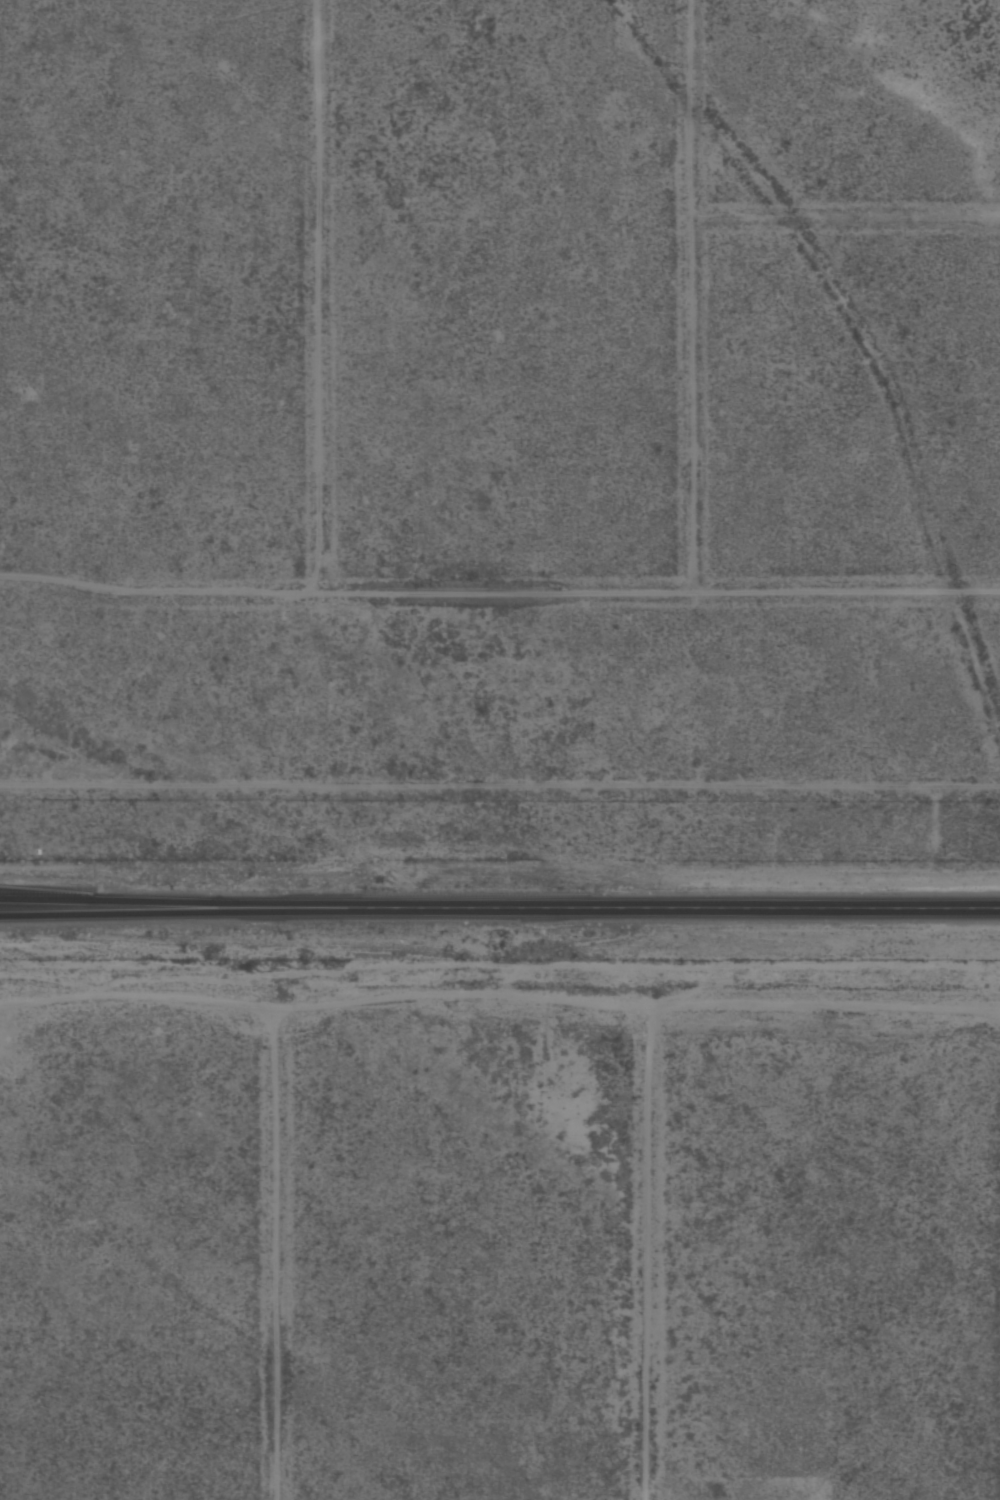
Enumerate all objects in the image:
road: (843, 224)
road: (685, 297)
road: (352, 598)
road: (45, 894)
road: (500, 897)
road: (501, 993)
road: (653, 1258)
road: (277, 1259)

